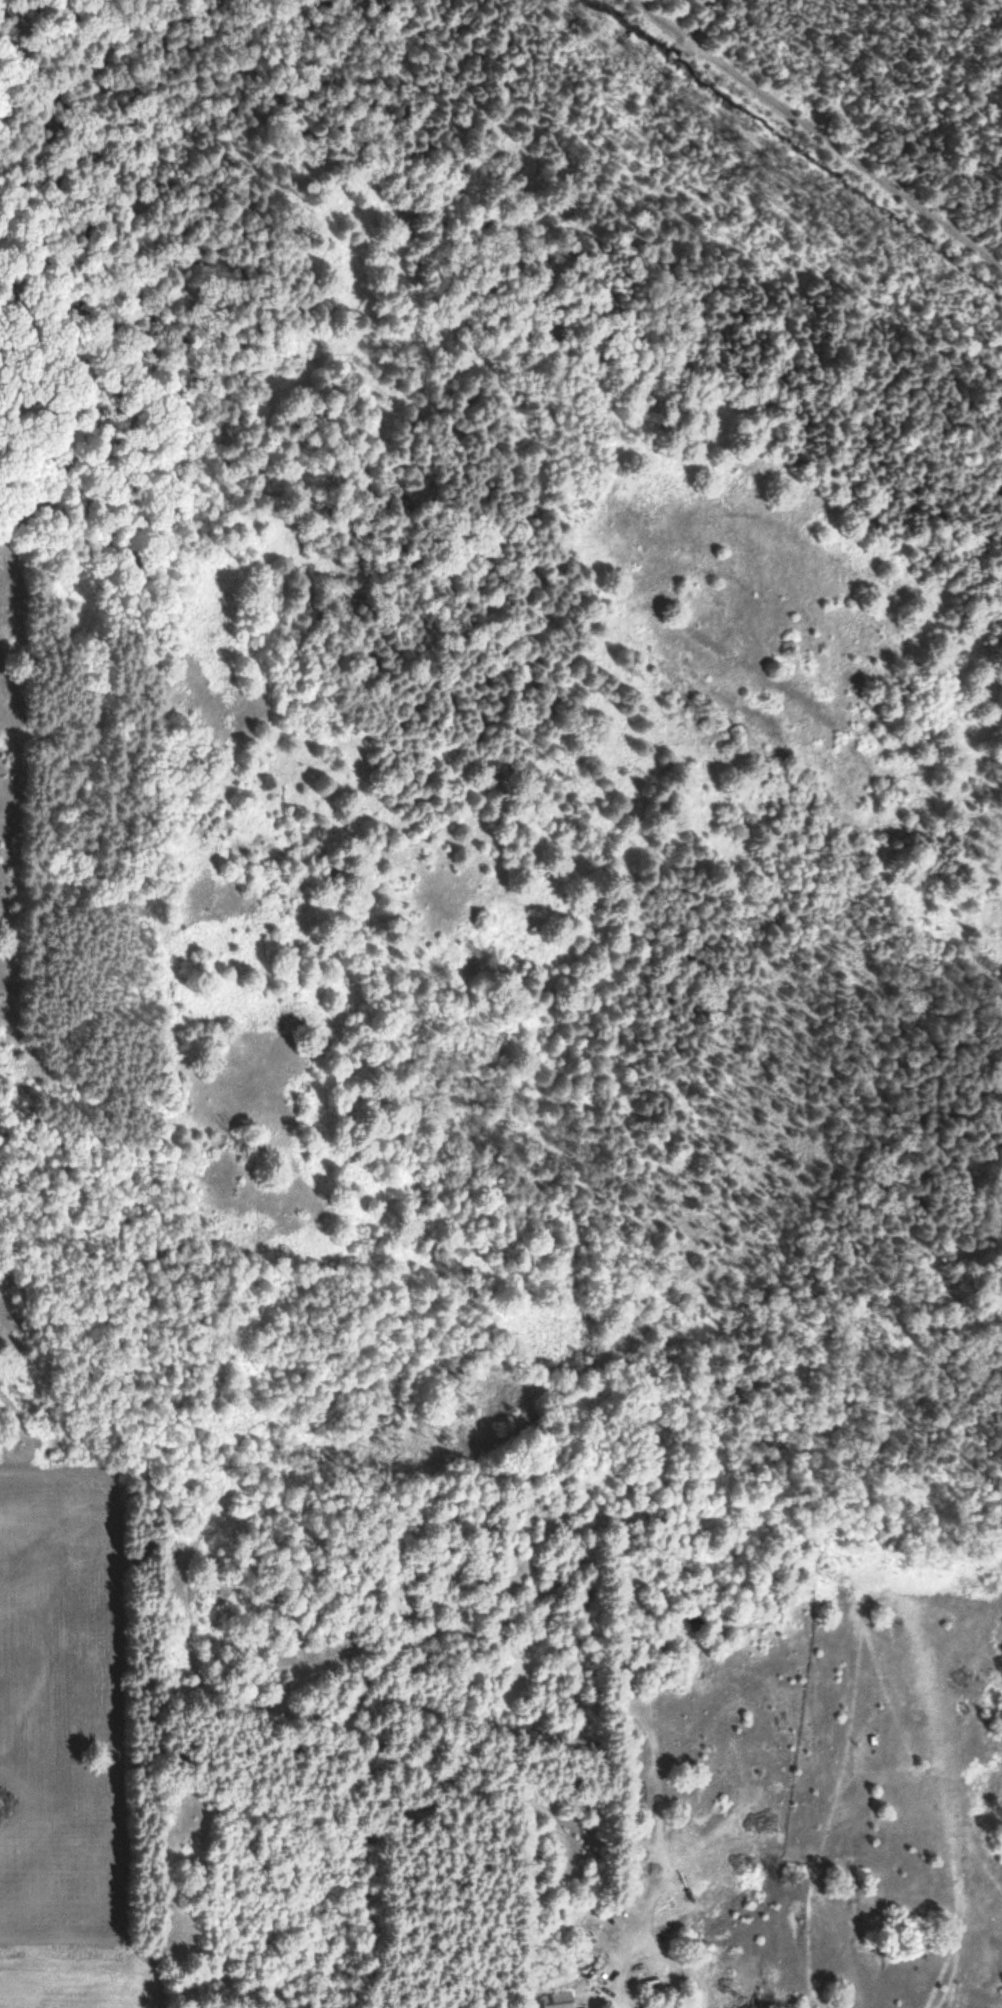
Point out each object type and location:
building: (559, 2001)

